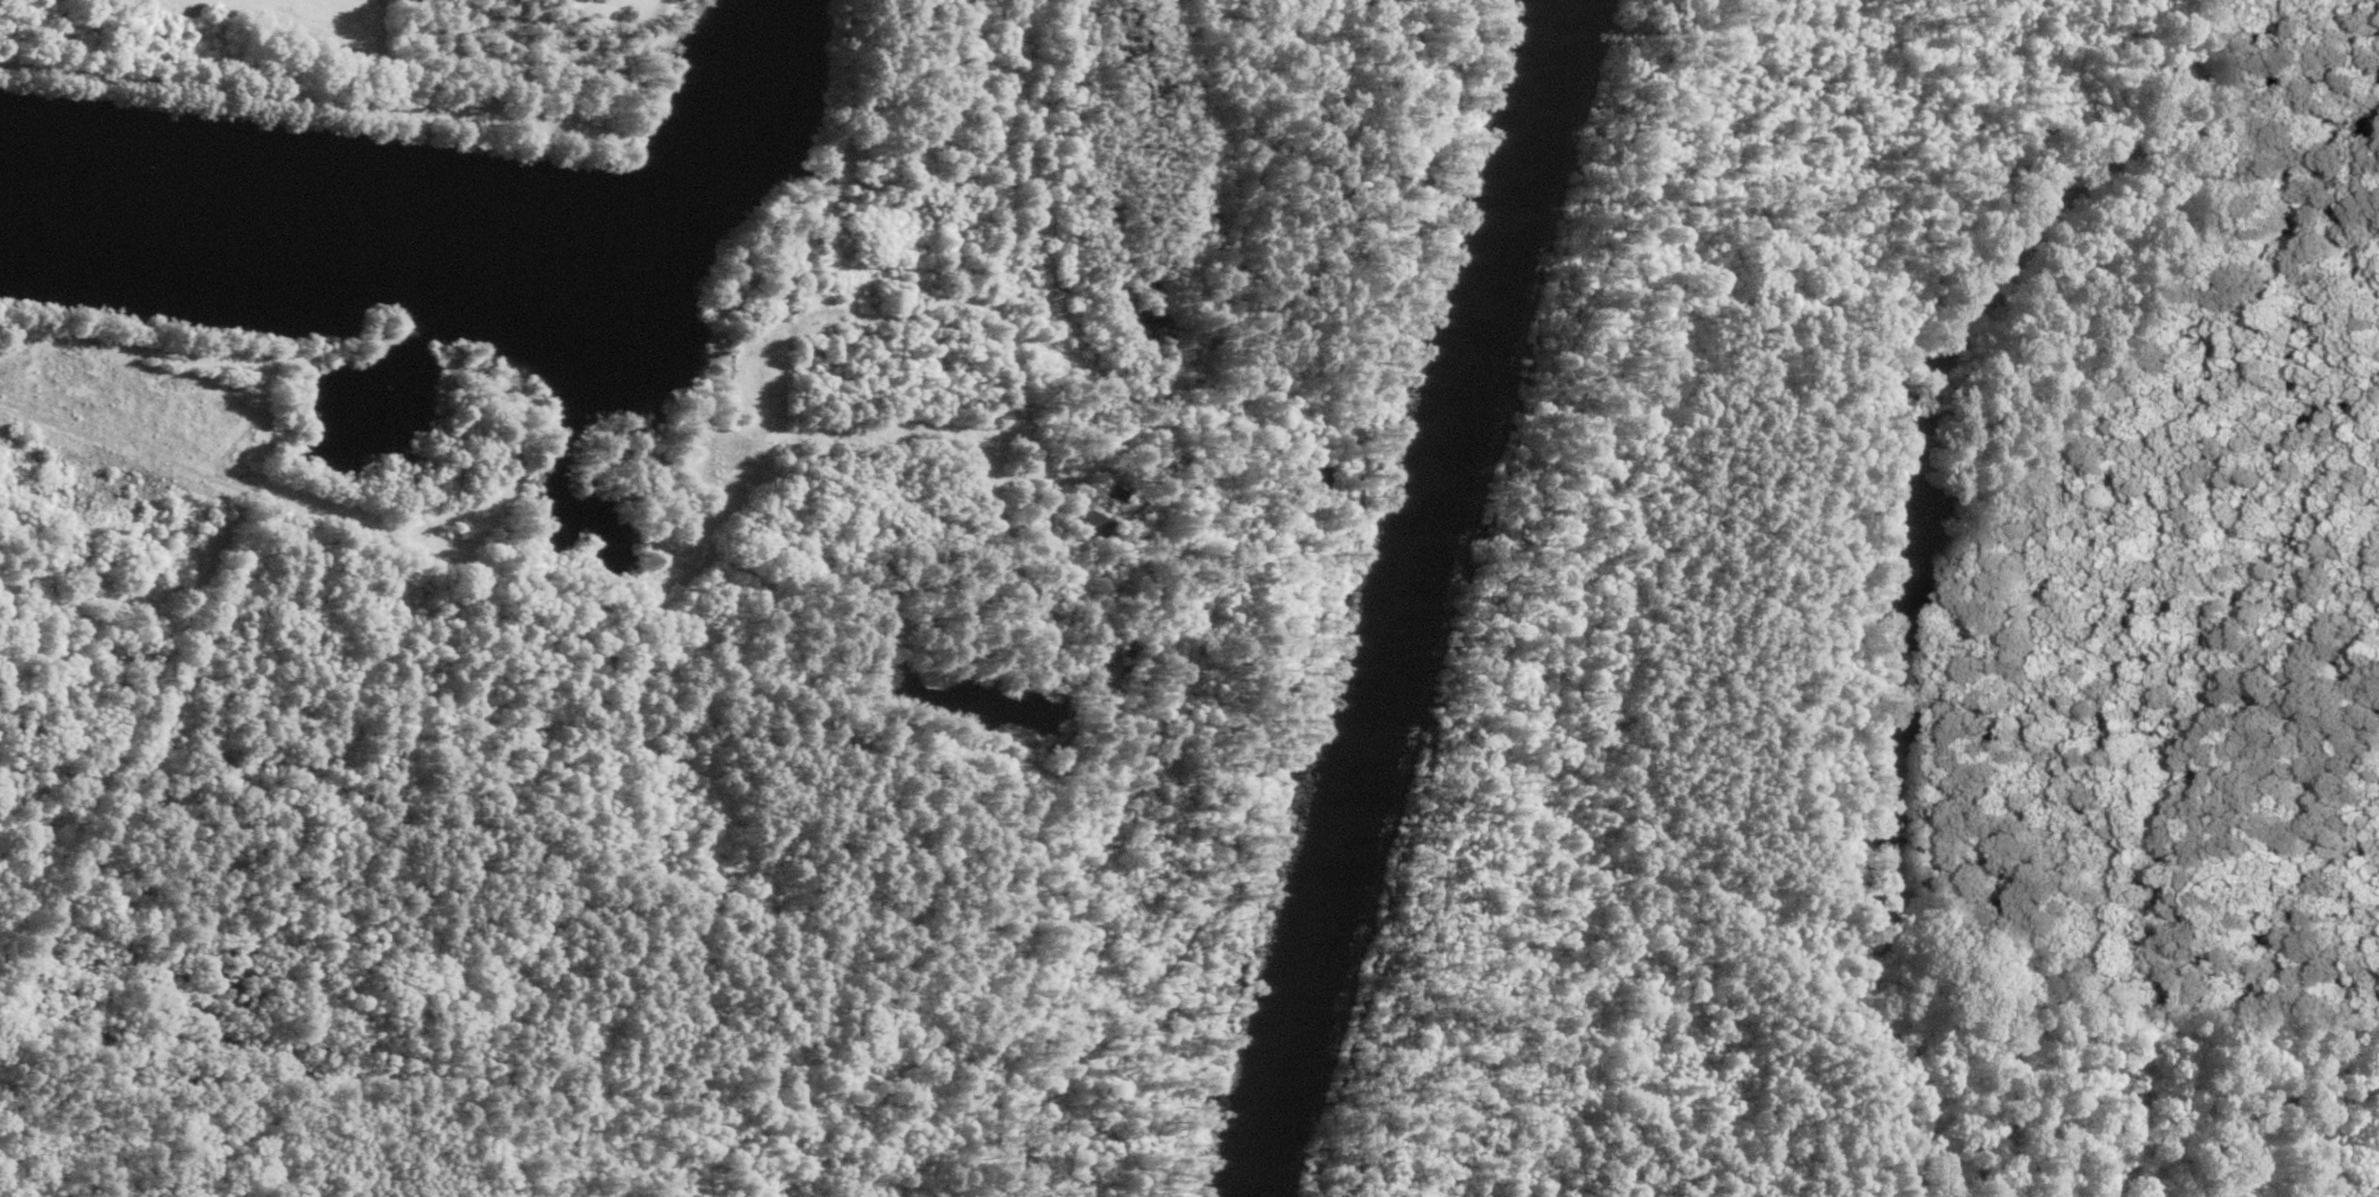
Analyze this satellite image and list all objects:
road: (742, 365)

